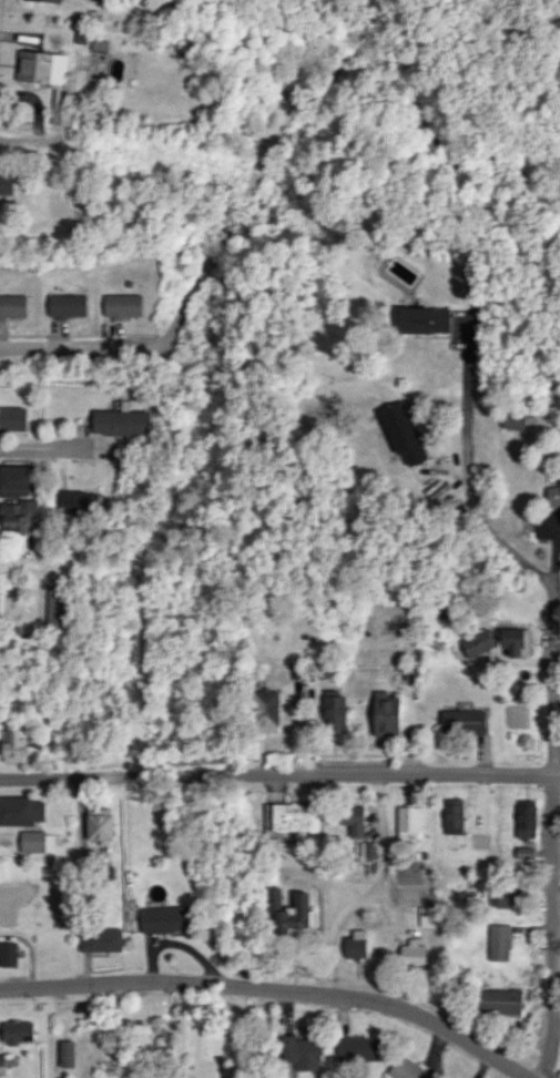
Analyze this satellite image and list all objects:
building: (47, 0)
building: (41, 67)
building: (61, 113)
road: (131, 148)
building: (6, 183)
building: (12, 306)
building: (68, 306)
building: (123, 306)
building: (421, 321)
road: (78, 352)
road: (518, 400)
building: (12, 418)
building: (513, 419)
building: (120, 423)
building: (401, 433)
road: (52, 447)
building: (16, 481)
building: (553, 496)
building: (78, 501)
building: (19, 516)
road: (23, 565)
building: (2, 603)
building: (59, 607)
building: (513, 641)
road: (550, 642)
building: (477, 643)
building: (411, 672)
building: (265, 711)
building: (333, 713)
building: (384, 714)
building: (462, 722)
building: (14, 746)
road: (279, 779)
building: (20, 812)
building: (454, 816)
building: (292, 818)
building: (354, 820)
building: (527, 820)
building: (99, 824)
building: (408, 825)
building: (38, 842)
building: (507, 897)
road: (373, 899)
building: (296, 908)
building: (164, 919)
road: (553, 927)
building: (101, 940)
building: (500, 944)
building: (356, 945)
building: (8, 955)
building: (413, 955)
road: (275, 991)
building: (499, 1003)
building: (16, 1033)
building: (357, 1049)
building: (301, 1054)
building: (65, 1055)
building: (2, 1065)
building: (407, 1070)

